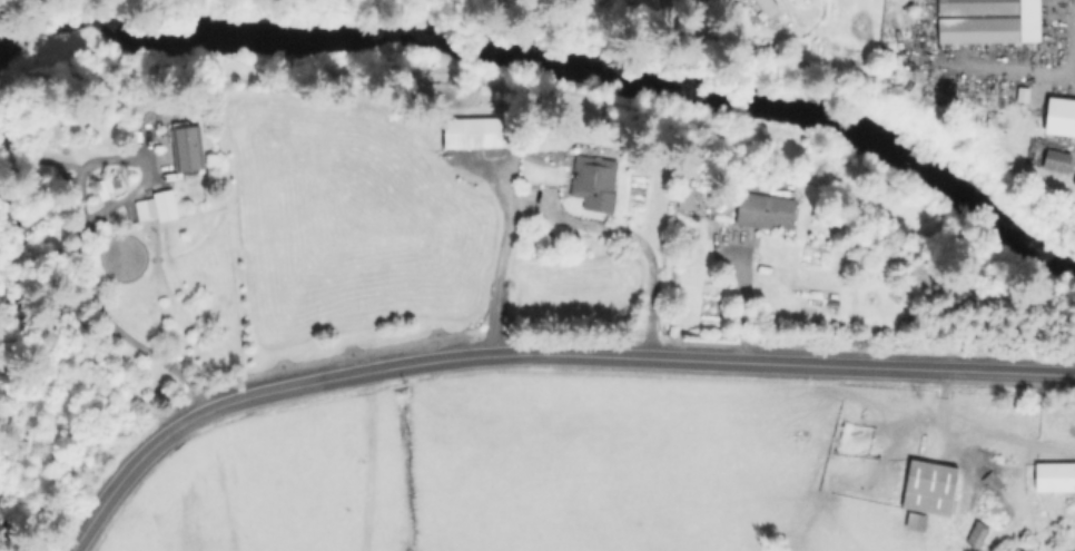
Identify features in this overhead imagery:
building: (670, 4)
building: (766, 7)
building: (984, 19)
building: (1058, 112)
building: (476, 134)
building: (114, 140)
building: (187, 147)
building: (1059, 155)
building: (595, 180)
building: (688, 191)
building: (167, 205)
building: (766, 210)
road: (565, 219)
road: (733, 295)
road: (92, 306)
road: (536, 352)
building: (1056, 476)
building: (929, 492)
building: (984, 500)
building: (978, 534)

